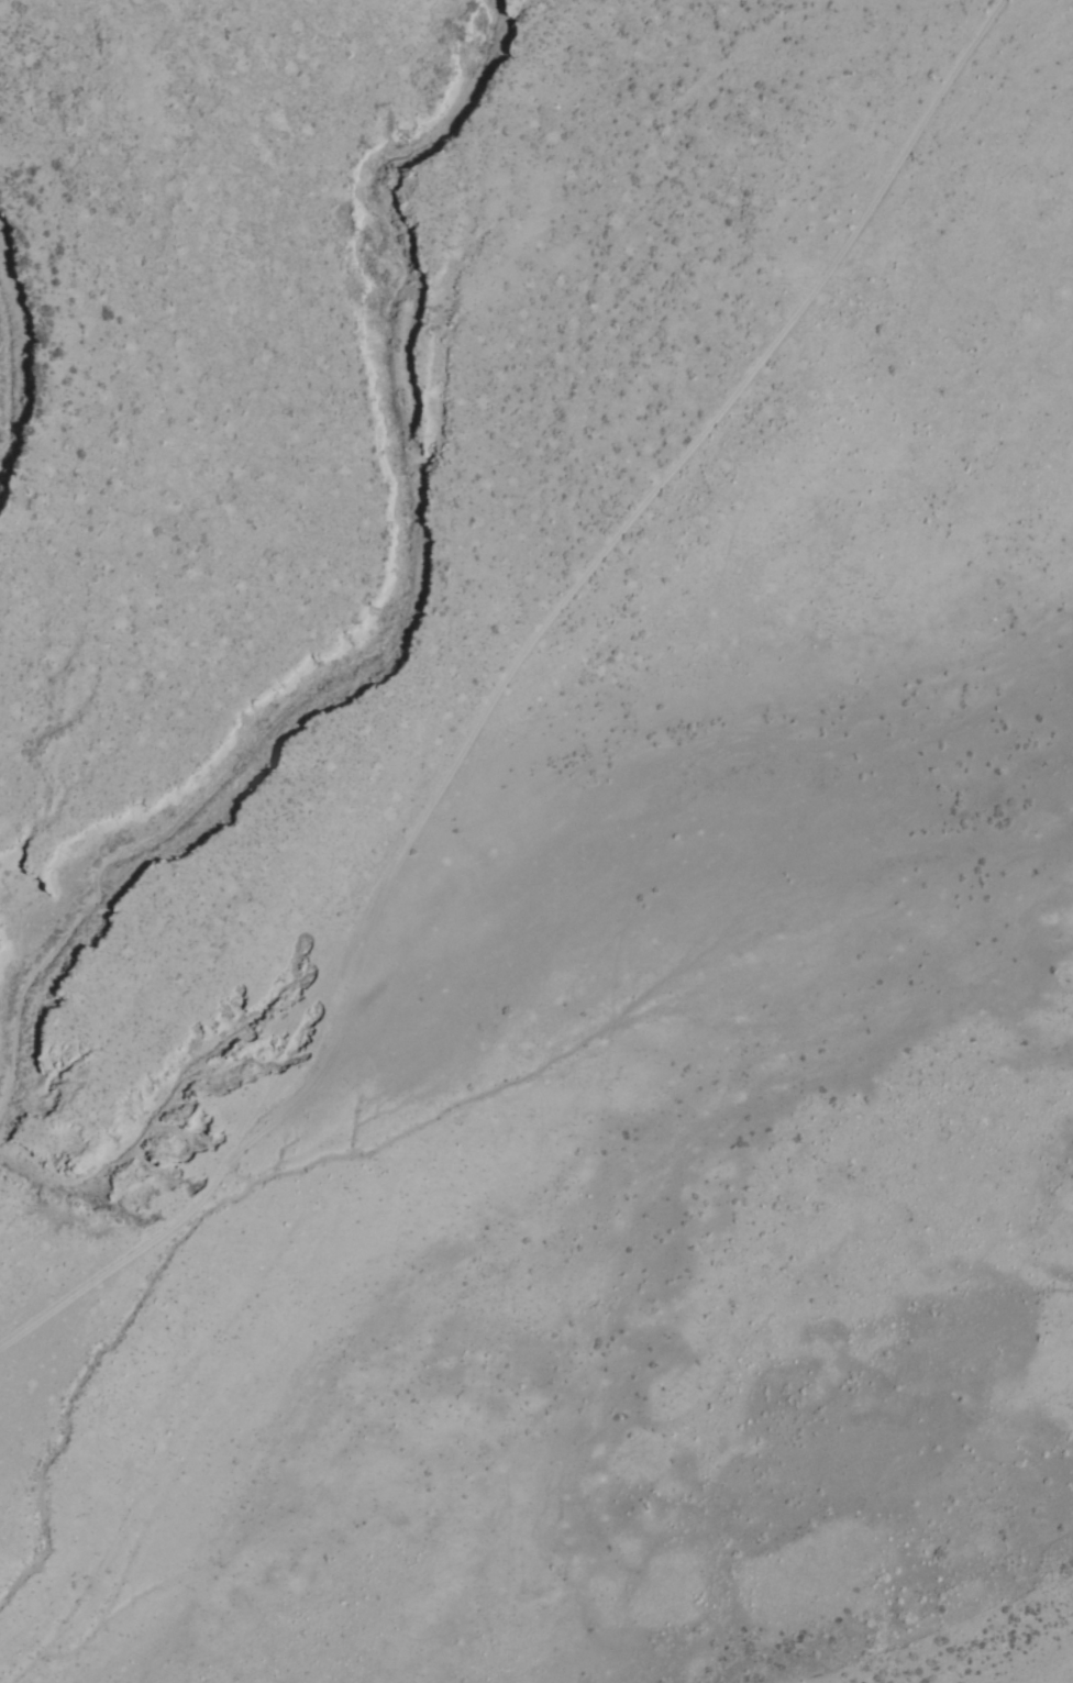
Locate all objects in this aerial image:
river: (375, 540)
road: (502, 689)

